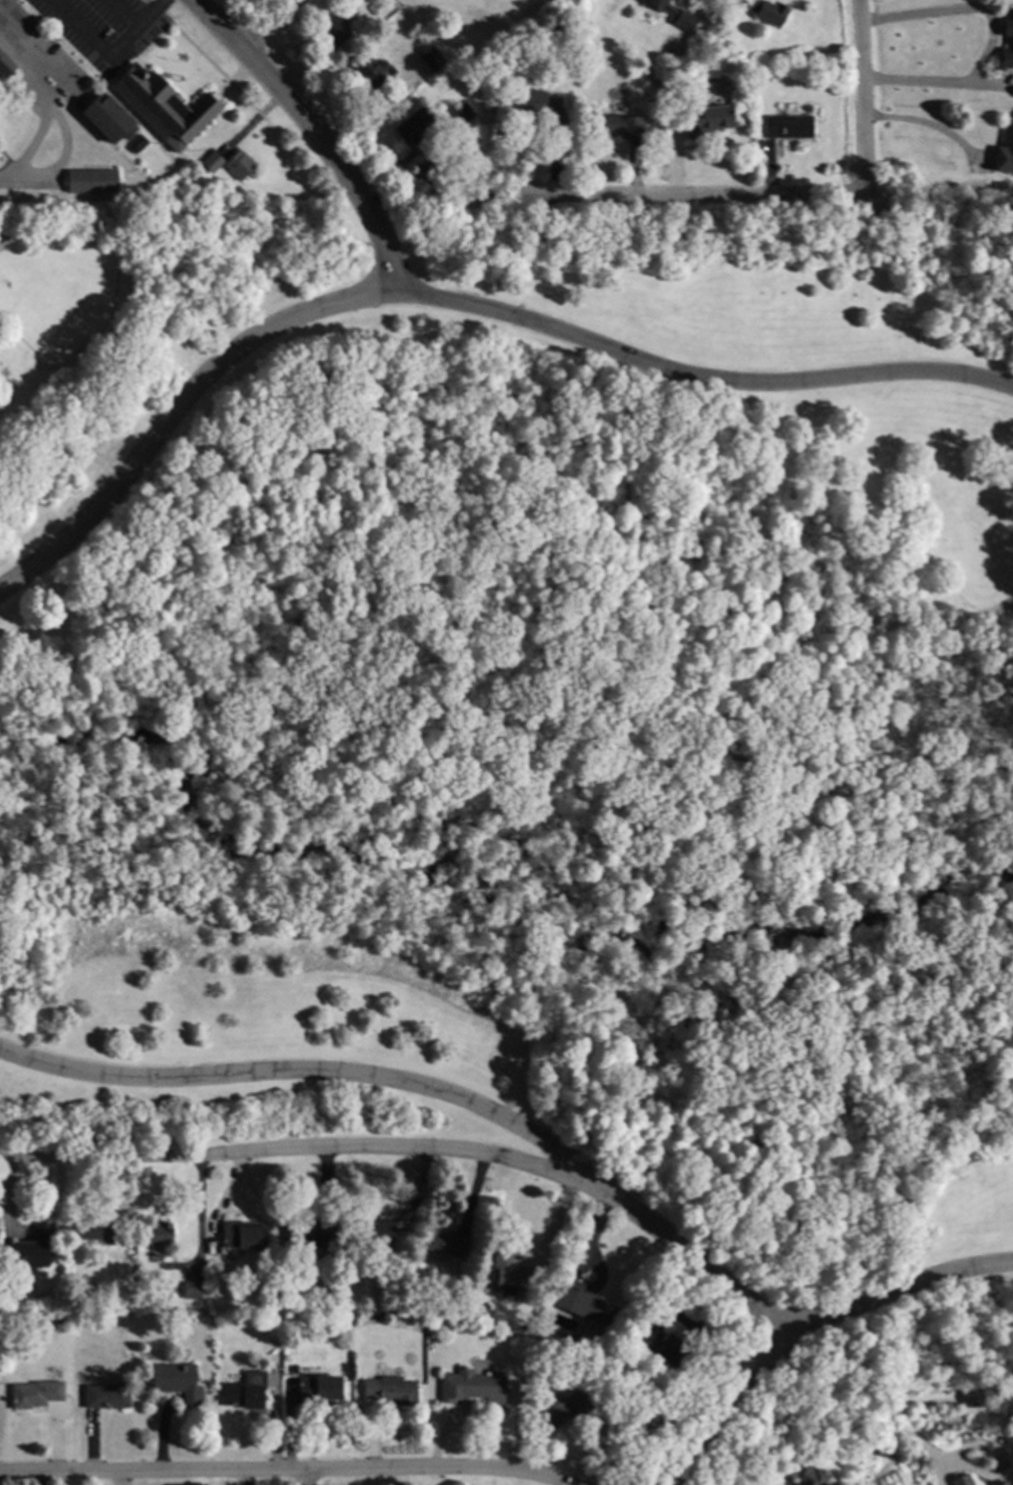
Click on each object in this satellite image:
building: (674, 2)
building: (765, 11)
road: (964, 11)
road: (124, 12)
building: (682, 21)
road: (272, 25)
parking lot: (103, 29)
building: (335, 30)
building: (1007, 43)
road: (108, 53)
building: (430, 59)
building: (5, 66)
building: (371, 72)
building: (670, 74)
road: (931, 86)
road: (864, 96)
road: (44, 101)
building: (538, 104)
building: (163, 107)
building: (461, 113)
building: (108, 119)
building: (705, 121)
building: (414, 126)
building: (618, 126)
building: (788, 127)
road: (932, 128)
road: (317, 131)
building: (137, 143)
building: (1005, 152)
building: (213, 162)
building: (239, 165)
building: (431, 171)
building: (91, 182)
road: (701, 191)
building: (238, 199)
building: (489, 199)
road: (455, 300)
park: (542, 738)
road: (321, 1072)
road: (310, 1149)
building: (373, 1230)
building: (99, 1232)
building: (158, 1234)
building: (242, 1235)
building: (309, 1235)
building: (447, 1243)
building: (34, 1249)
road: (702, 1268)
building: (510, 1275)
road: (898, 1289)
building: (191, 1290)
building: (403, 1297)
building: (584, 1306)
building: (376, 1315)
building: (660, 1345)
building: (176, 1382)
building: (471, 1387)
building: (390, 1390)
building: (244, 1391)
building: (317, 1391)
building: (35, 1394)
building: (106, 1396)
building: (972, 1398)
building: (573, 1406)
road: (731, 1408)
road: (916, 1440)
building: (869, 1464)
road: (290, 1470)
building: (810, 1476)
road: (303, 1477)
building: (962, 1480)
building: (1002, 1483)
building: (1011, 1484)

